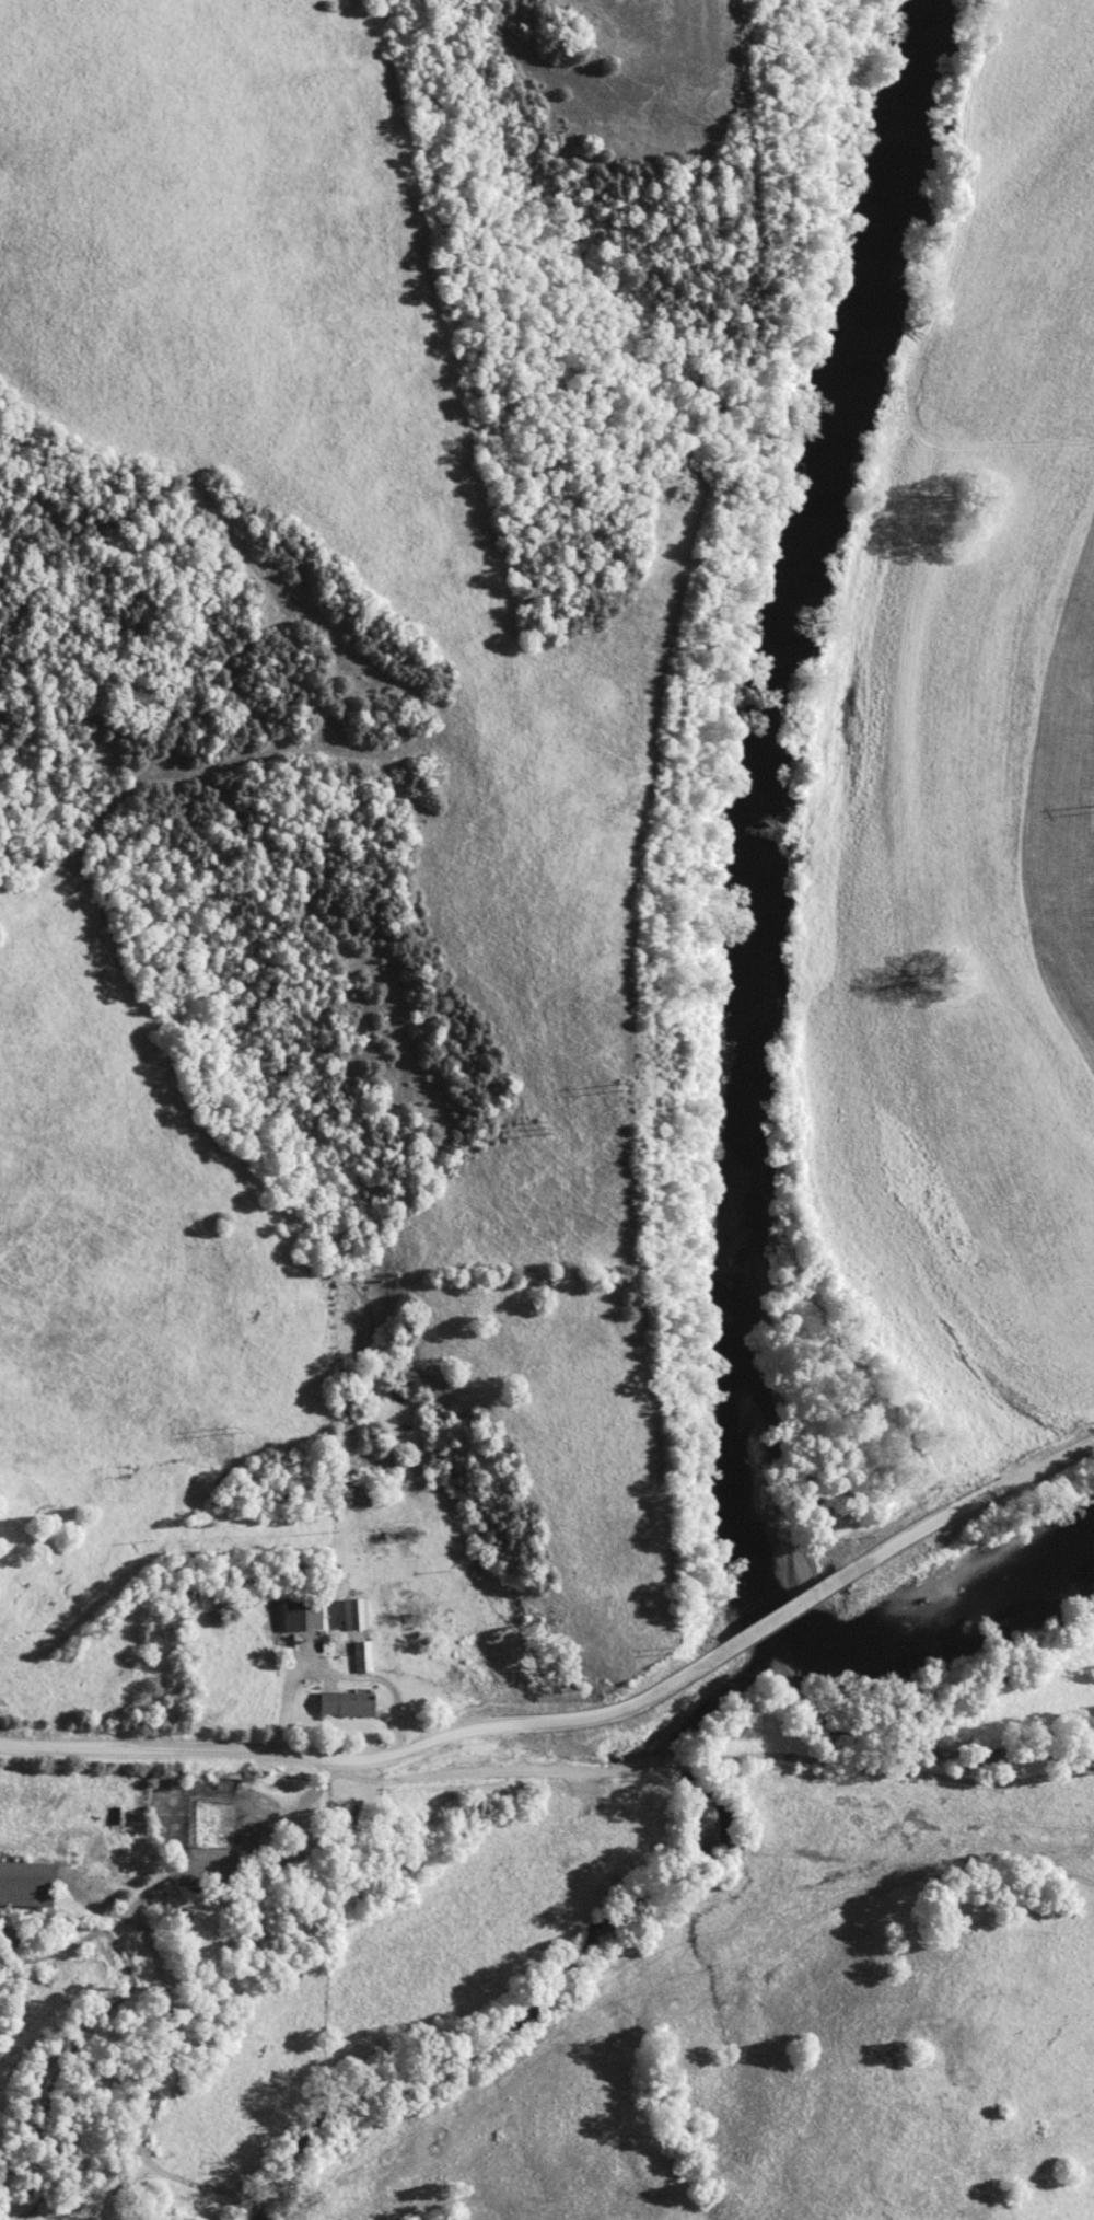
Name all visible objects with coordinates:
river: (743, 990)
road: (950, 1519)
road: (763, 1612)
building: (351, 1617)
building: (300, 1618)
building: (217, 1620)
building: (360, 1657)
building: (341, 1707)
road: (294, 1712)
road: (392, 1777)
building: (207, 1822)
road: (223, 1880)
building: (23, 1884)

